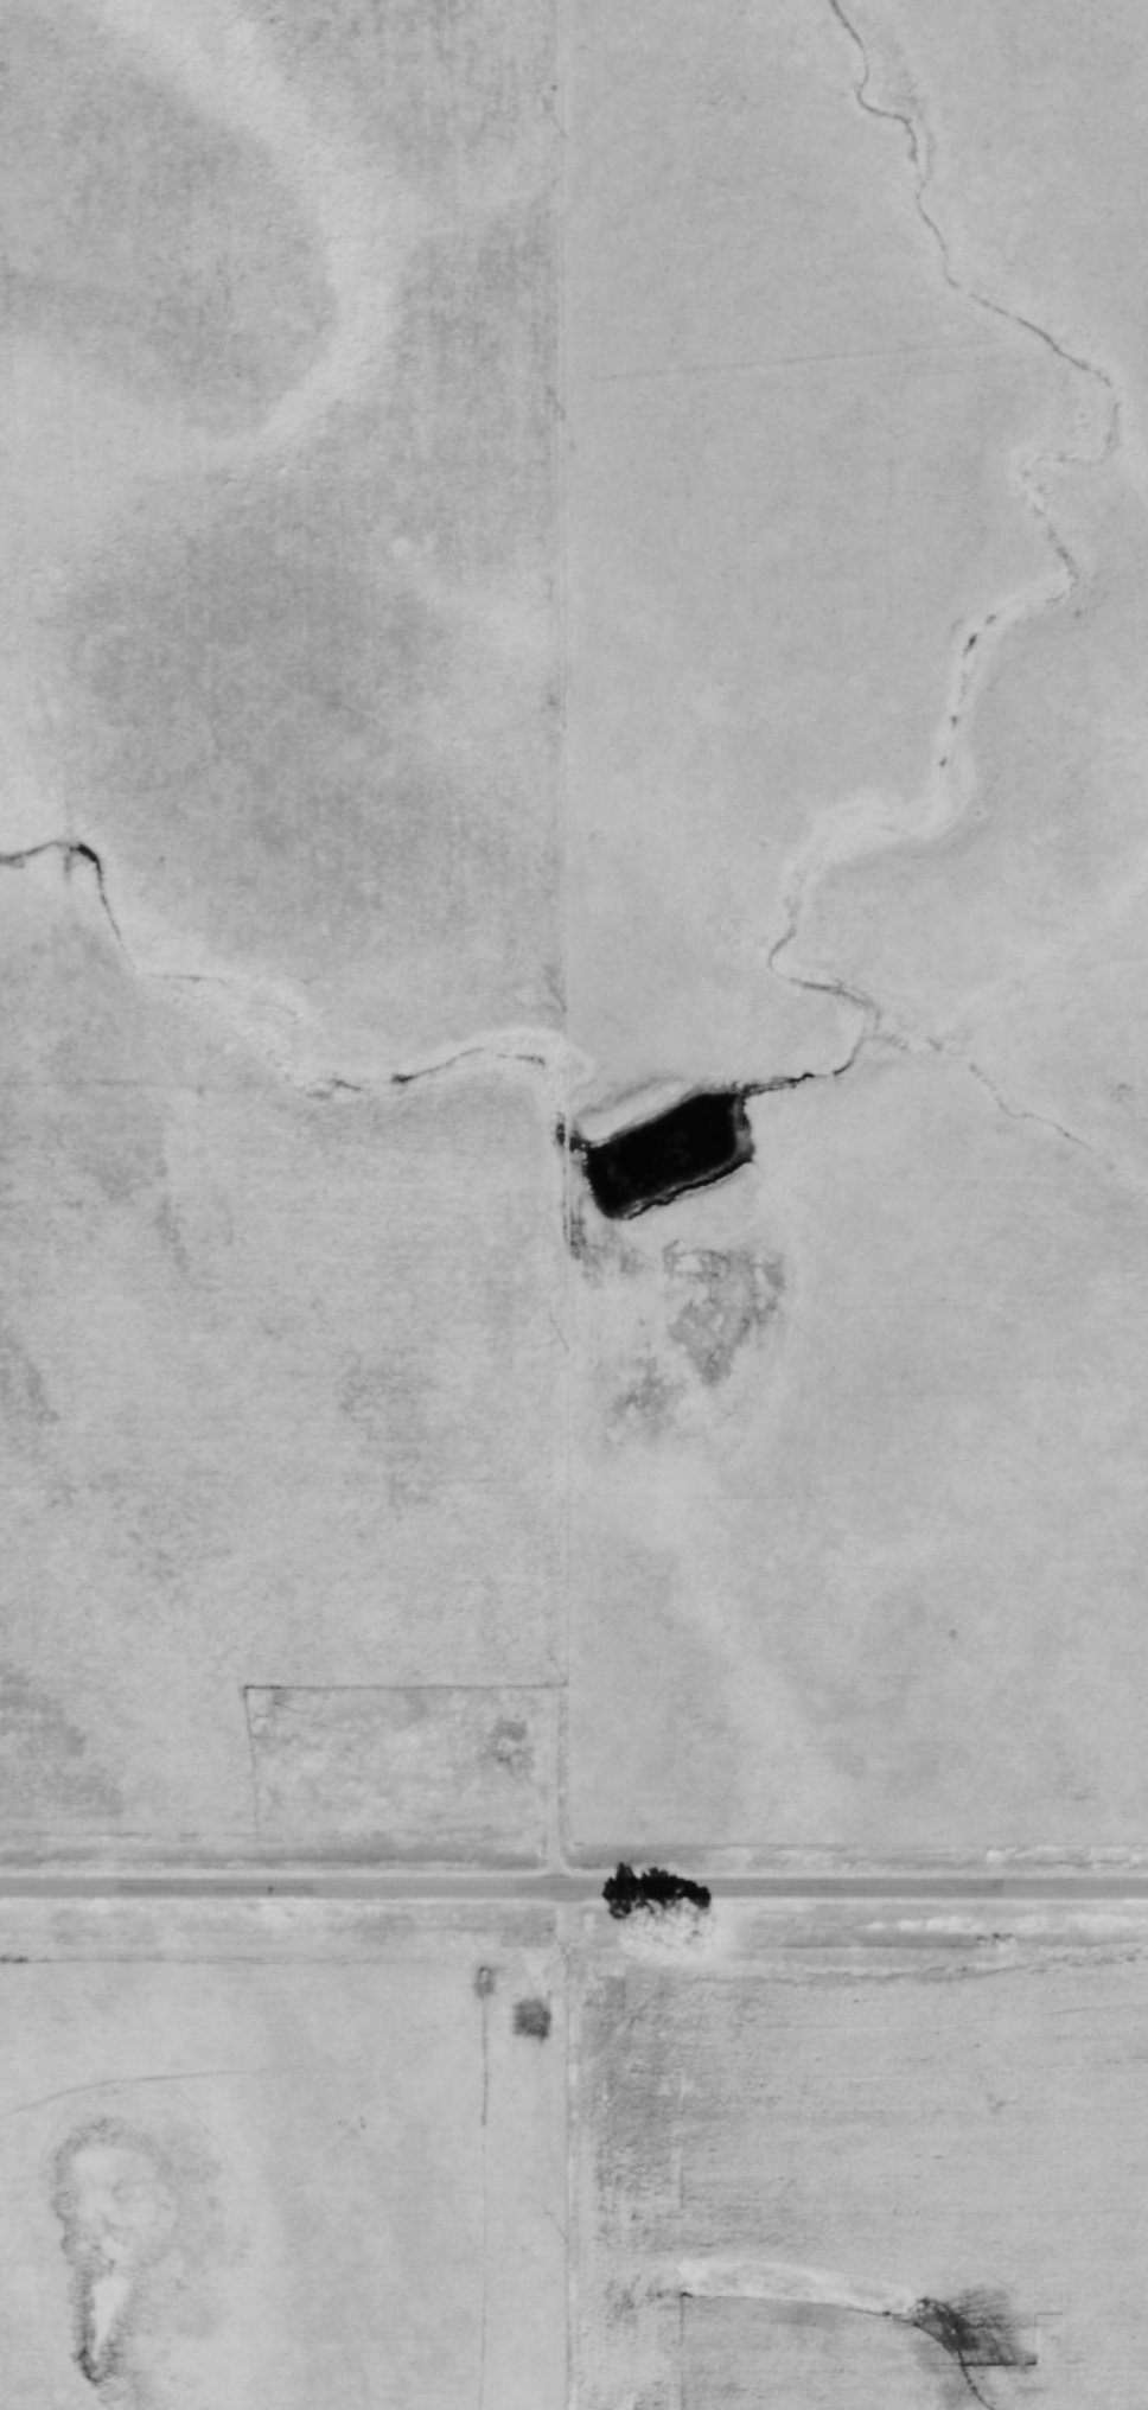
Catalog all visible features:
road: (573, 1882)

